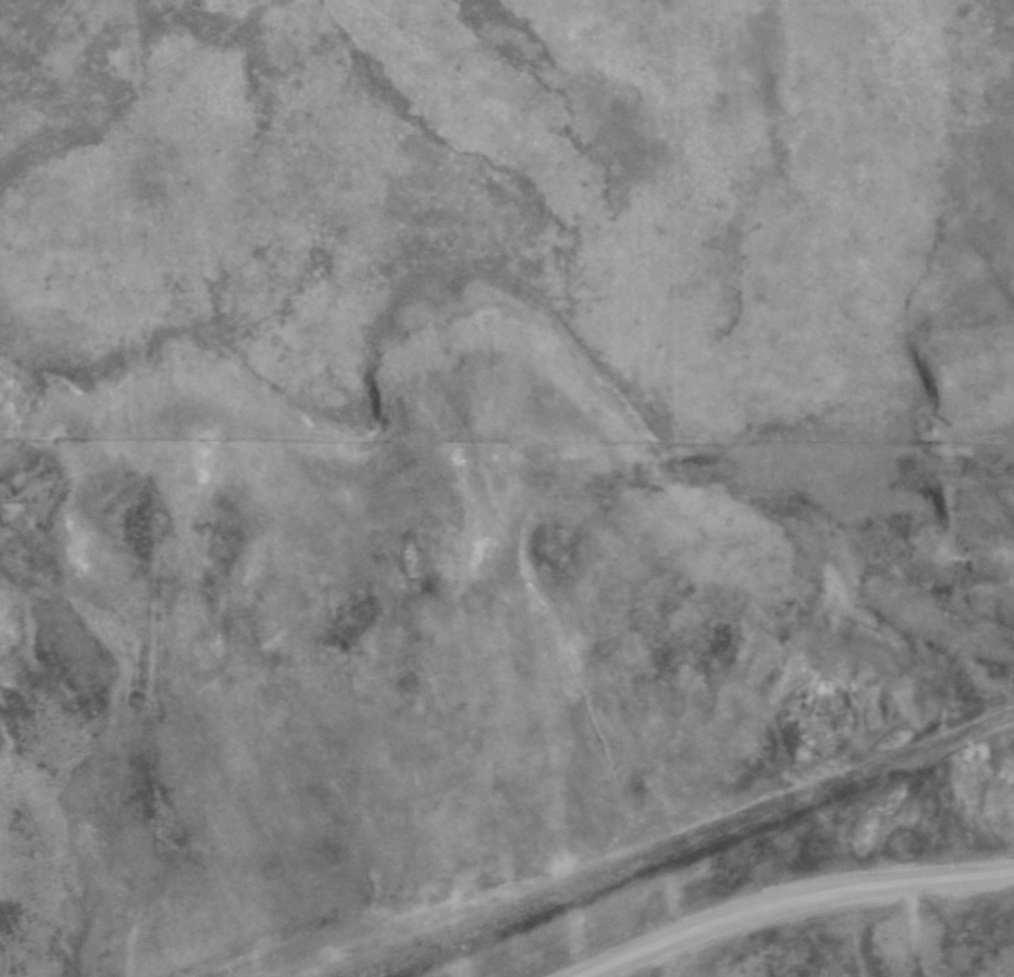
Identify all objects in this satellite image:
railway: (676, 842)
road: (797, 906)

